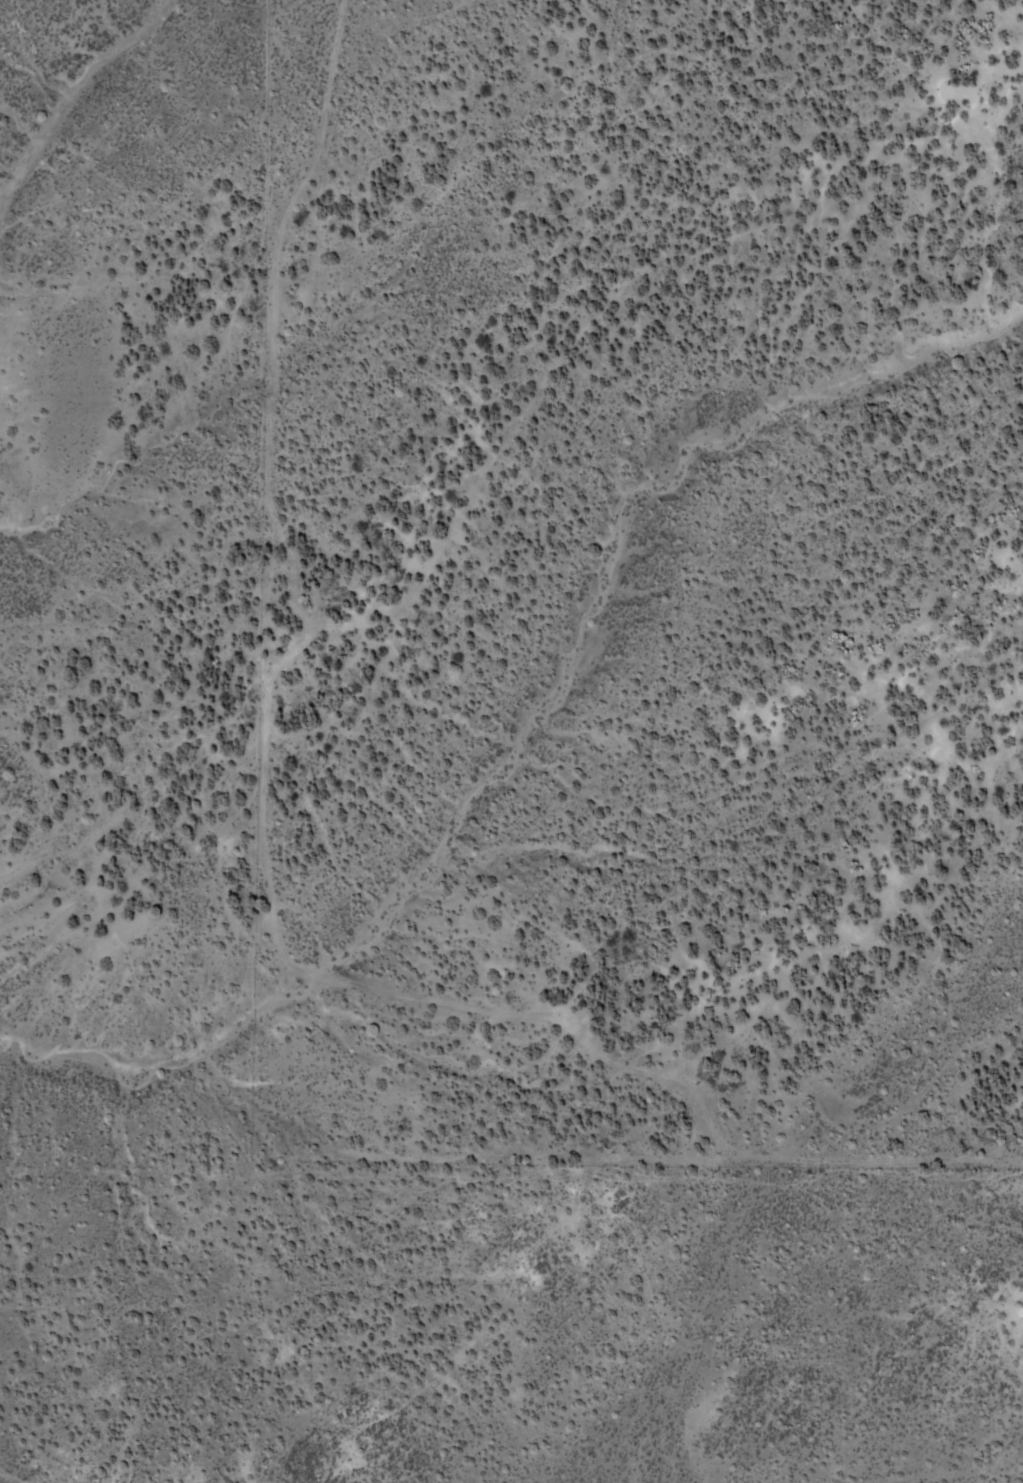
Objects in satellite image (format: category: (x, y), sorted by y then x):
road: (13, 1476)

